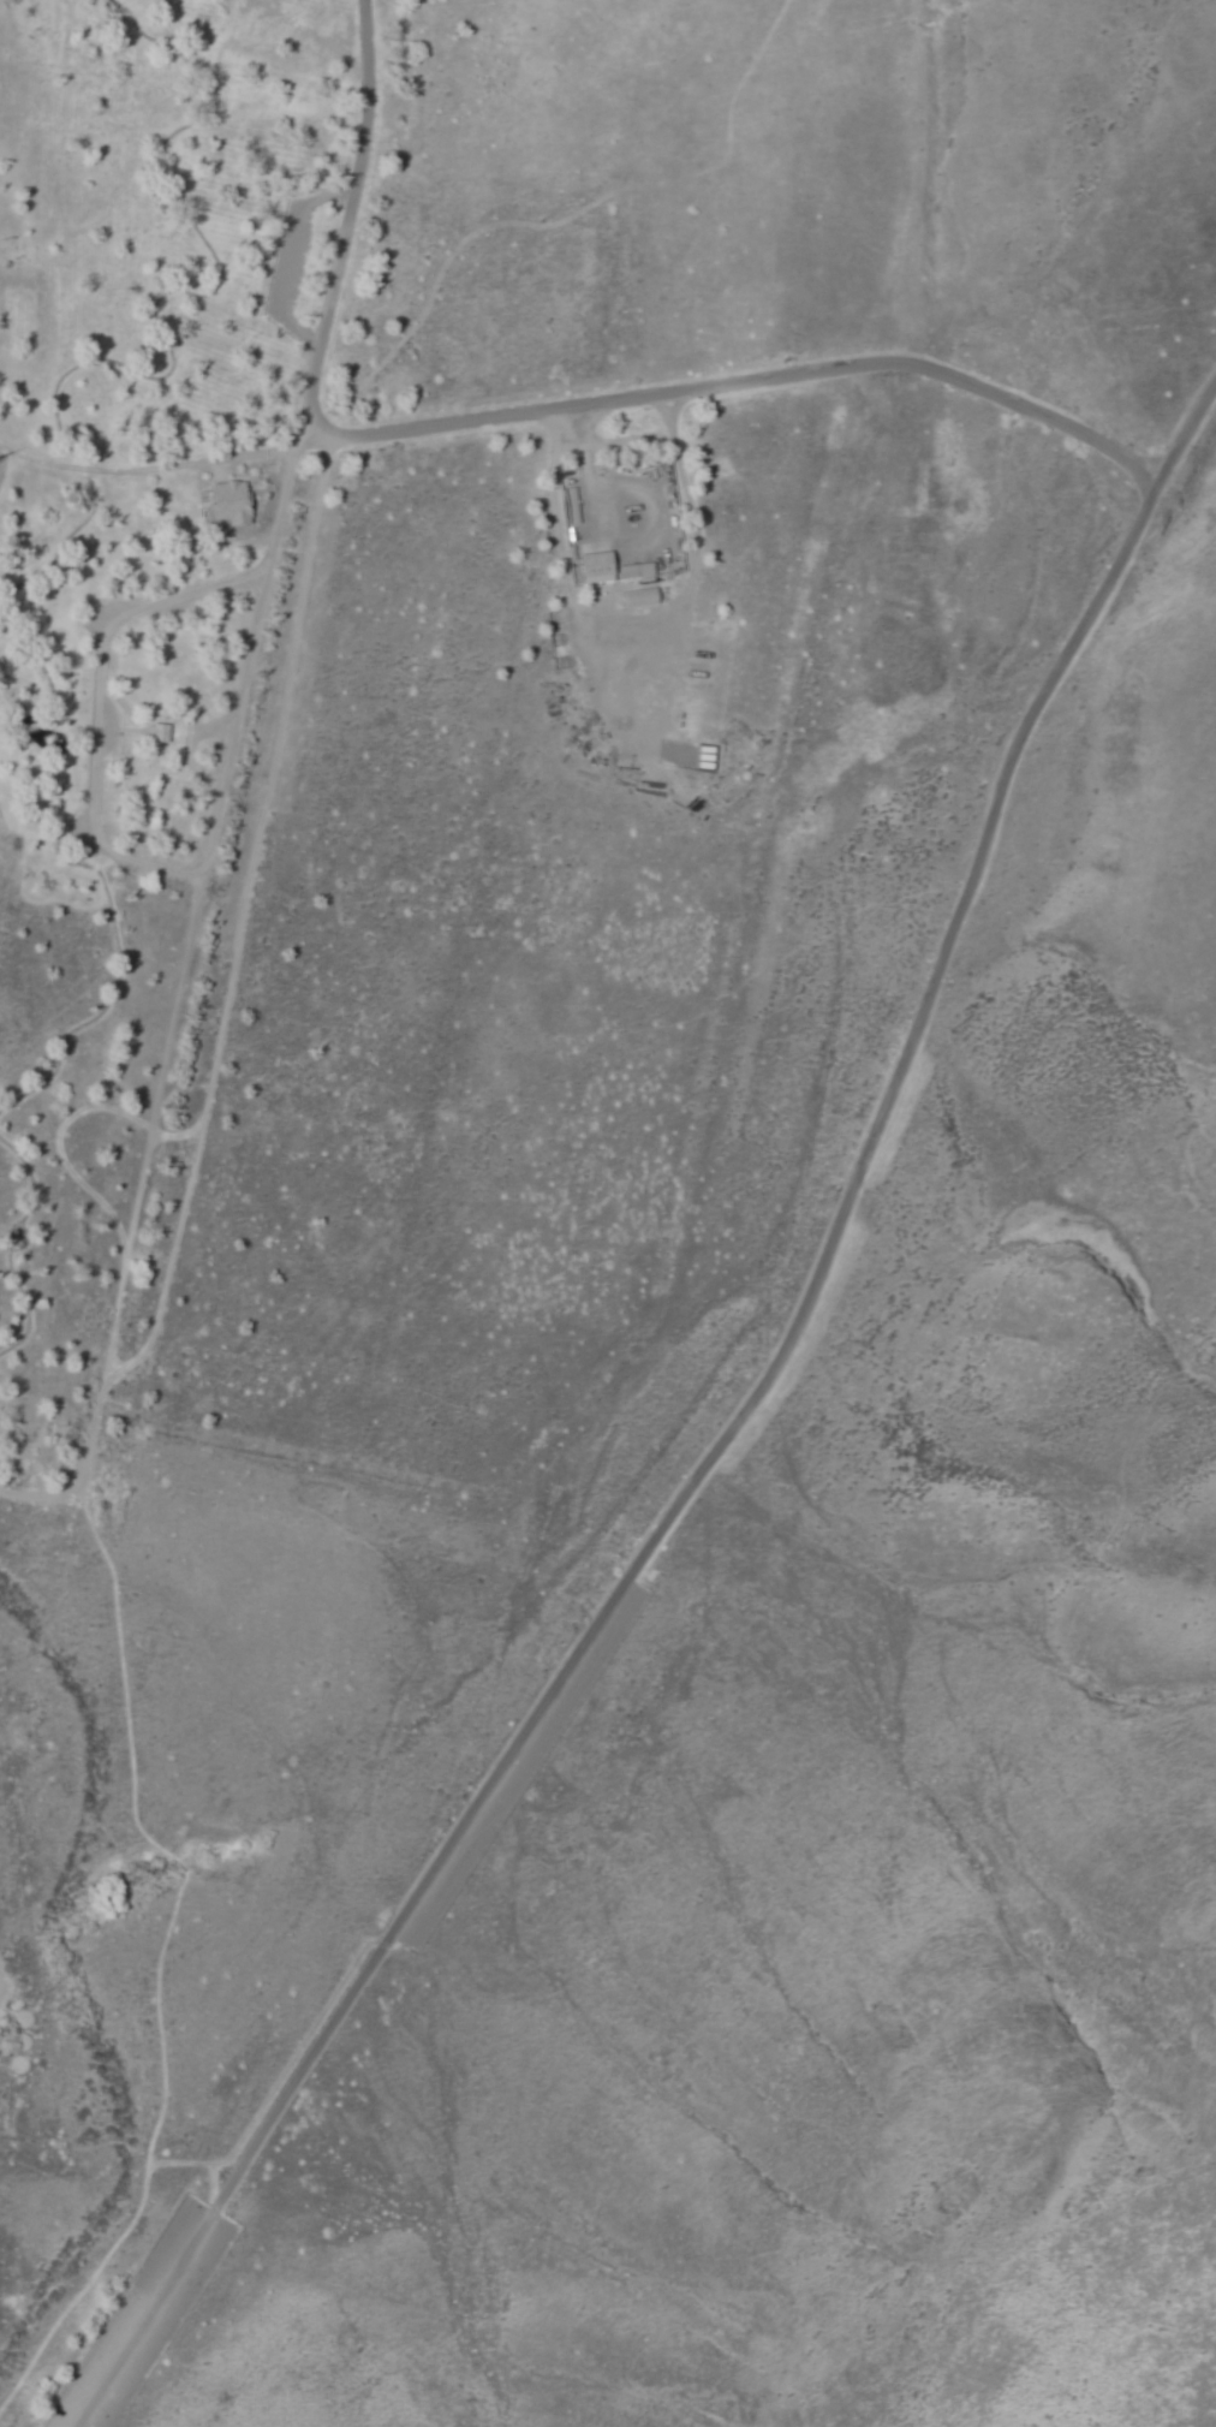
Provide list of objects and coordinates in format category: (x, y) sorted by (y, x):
road: (416, 6)
building: (58, 148)
road: (290, 258)
parking lot: (294, 260)
road: (77, 374)
road: (597, 401)
road: (5, 460)
building: (234, 502)
building: (597, 564)
building: (637, 570)
building: (640, 596)
road: (96, 708)
building: (161, 733)
road: (232, 784)
road: (107, 1001)
road: (17, 1249)
road: (723, 1445)
road: (0, 1968)
parking lot: (105, 2351)

